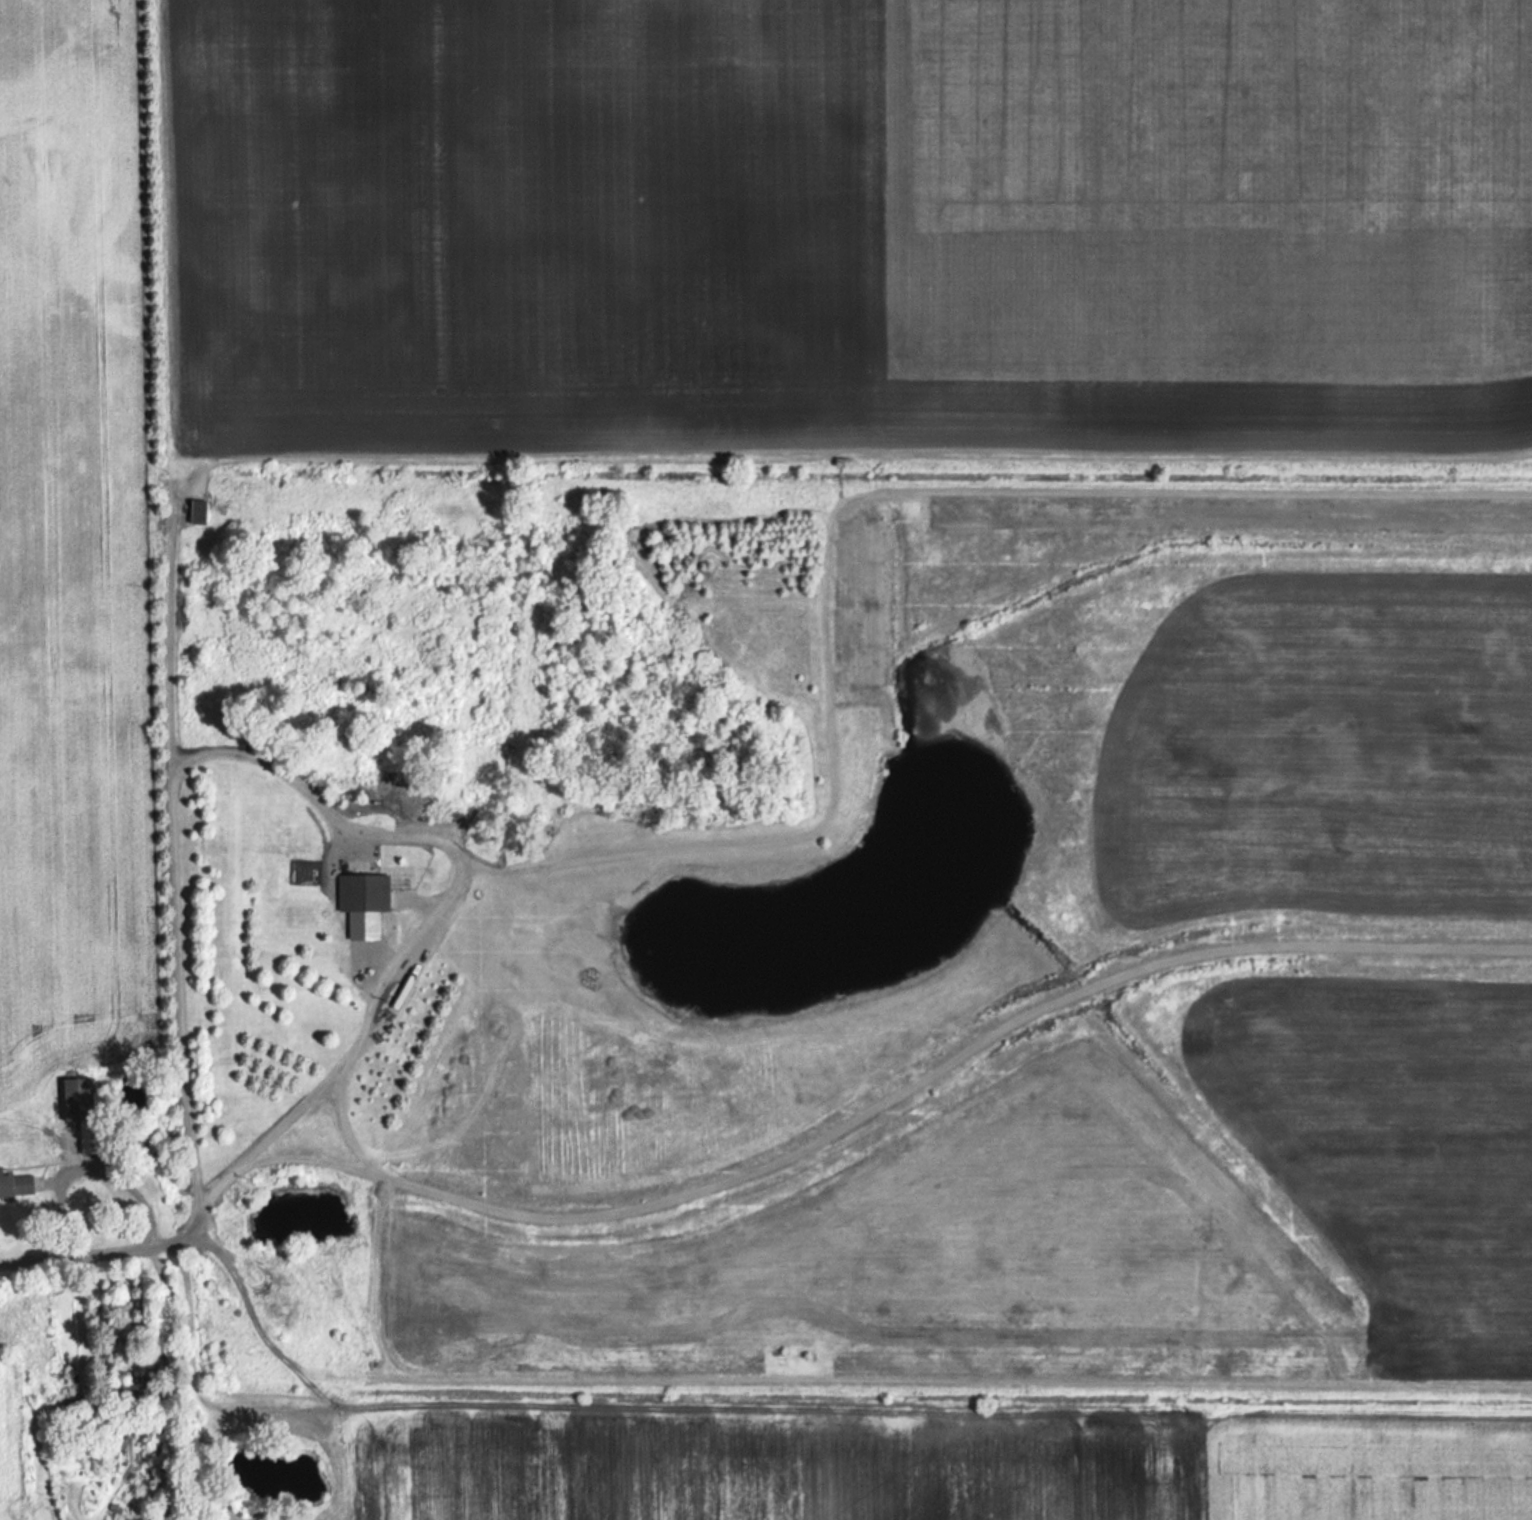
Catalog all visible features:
building: (200, 513)
road: (171, 636)
road: (328, 807)
building: (366, 903)
building: (87, 1111)
building: (19, 1184)
road: (94, 1243)

